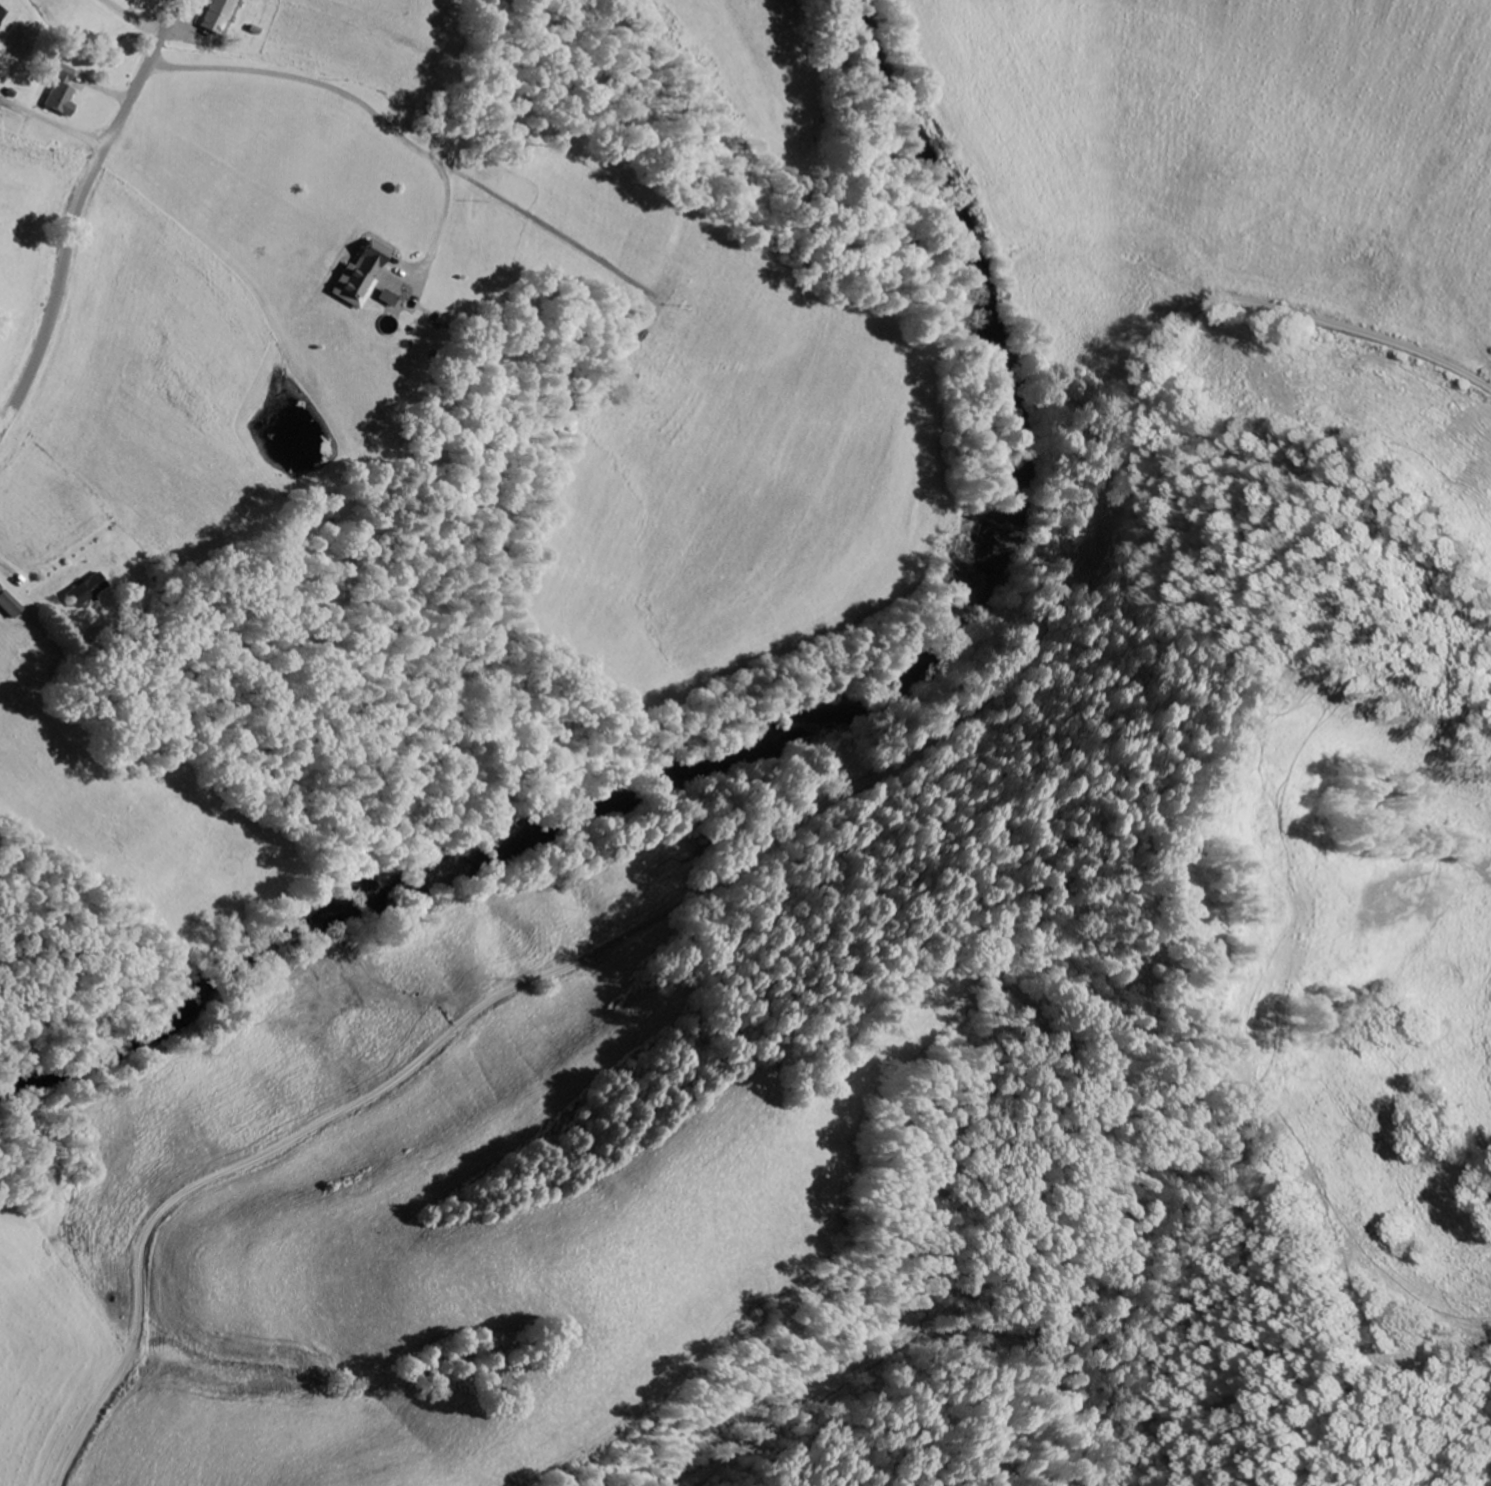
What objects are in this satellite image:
building: (1, 14)
building: (219, 16)
building: (63, 93)
road: (80, 210)
building: (362, 276)
building: (389, 299)
building: (87, 592)
building: (10, 605)
river: (789, 733)
road: (776, 840)

